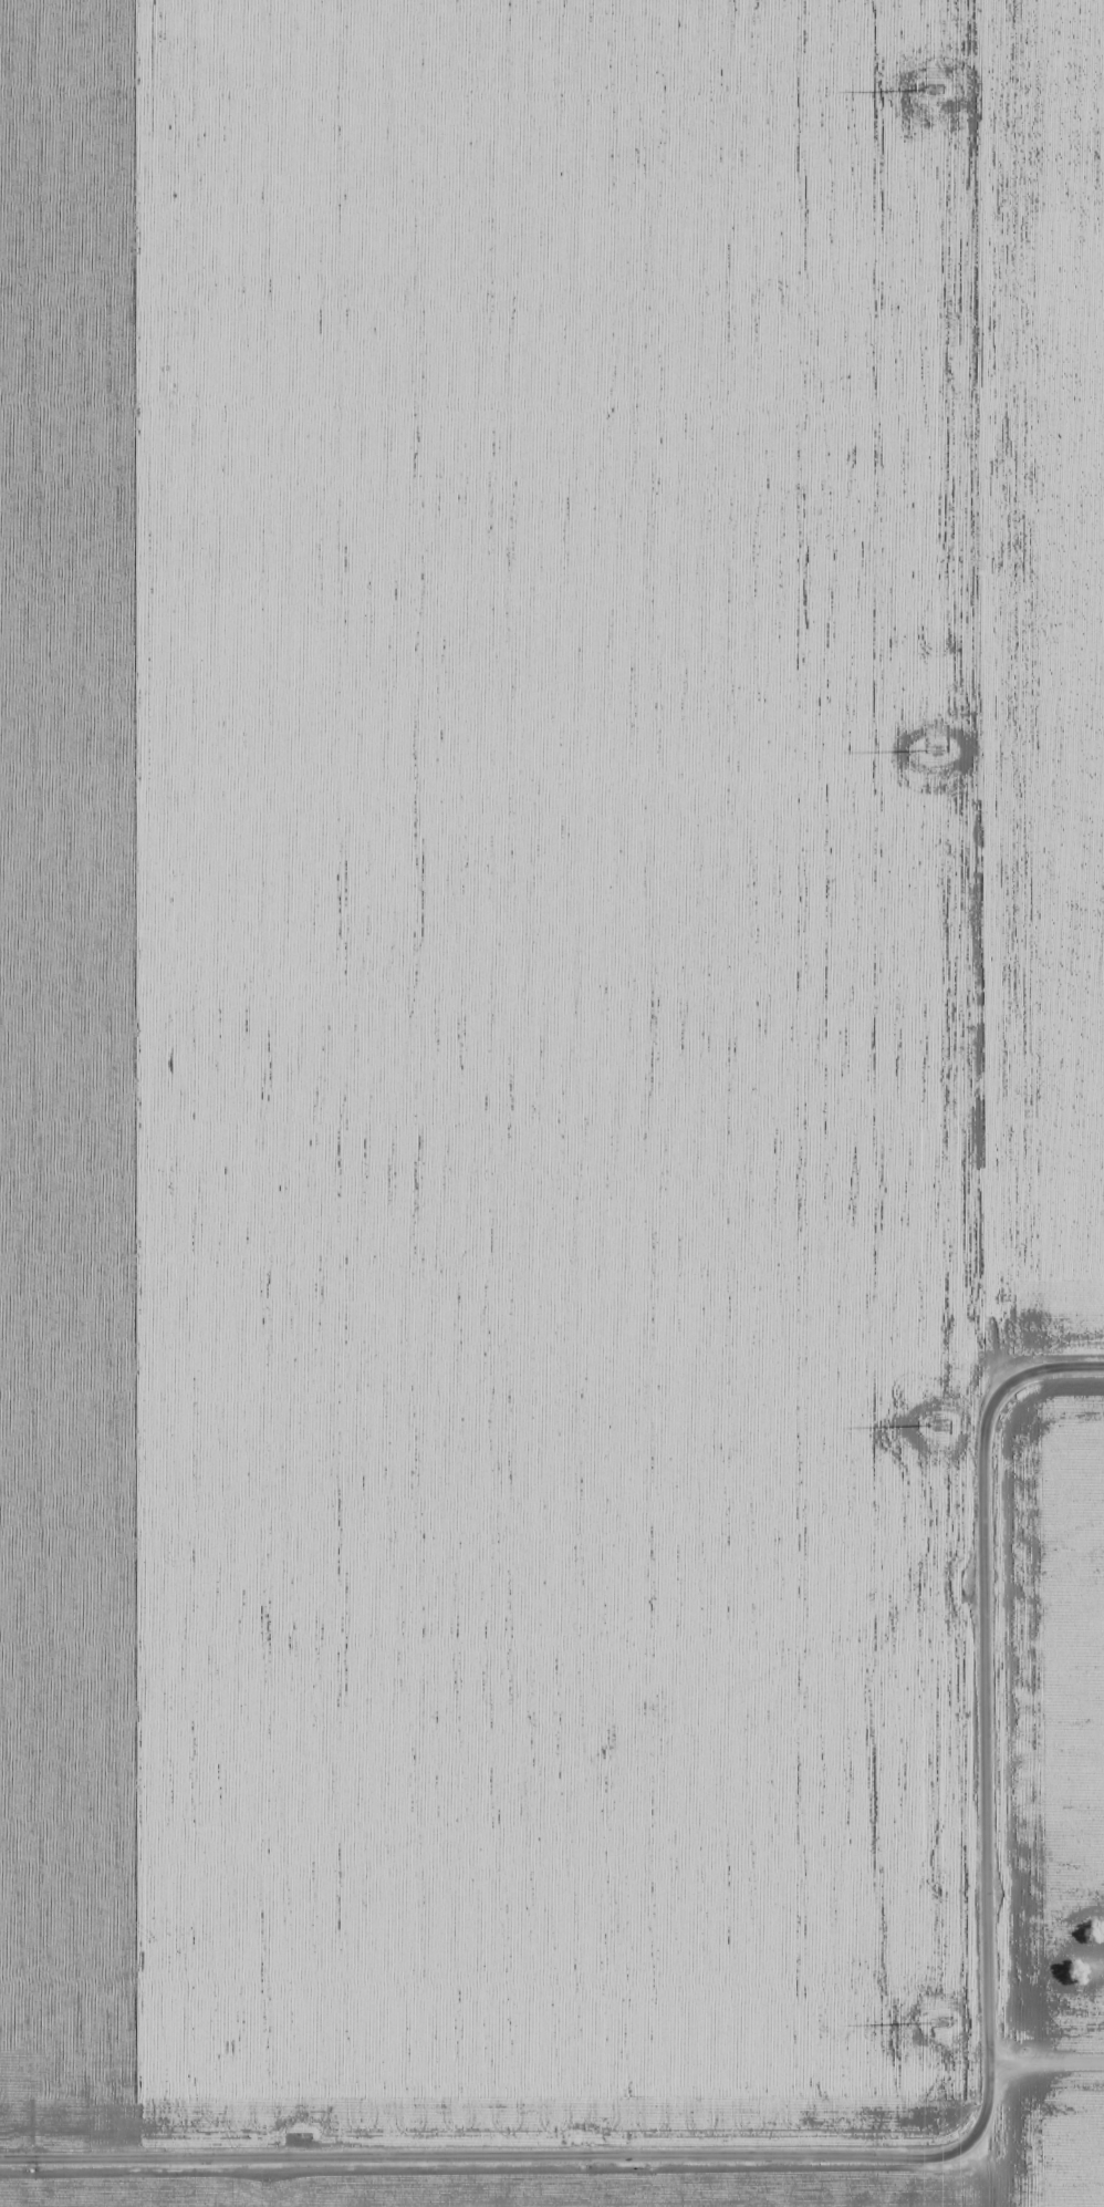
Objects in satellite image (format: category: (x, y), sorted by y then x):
power tower: (930, 89)
power tower: (933, 746)
road: (1053, 1341)
power tower: (935, 1421)
road: (998, 1774)
power tower: (938, 2020)
road: (1050, 2061)
road: (503, 2152)

